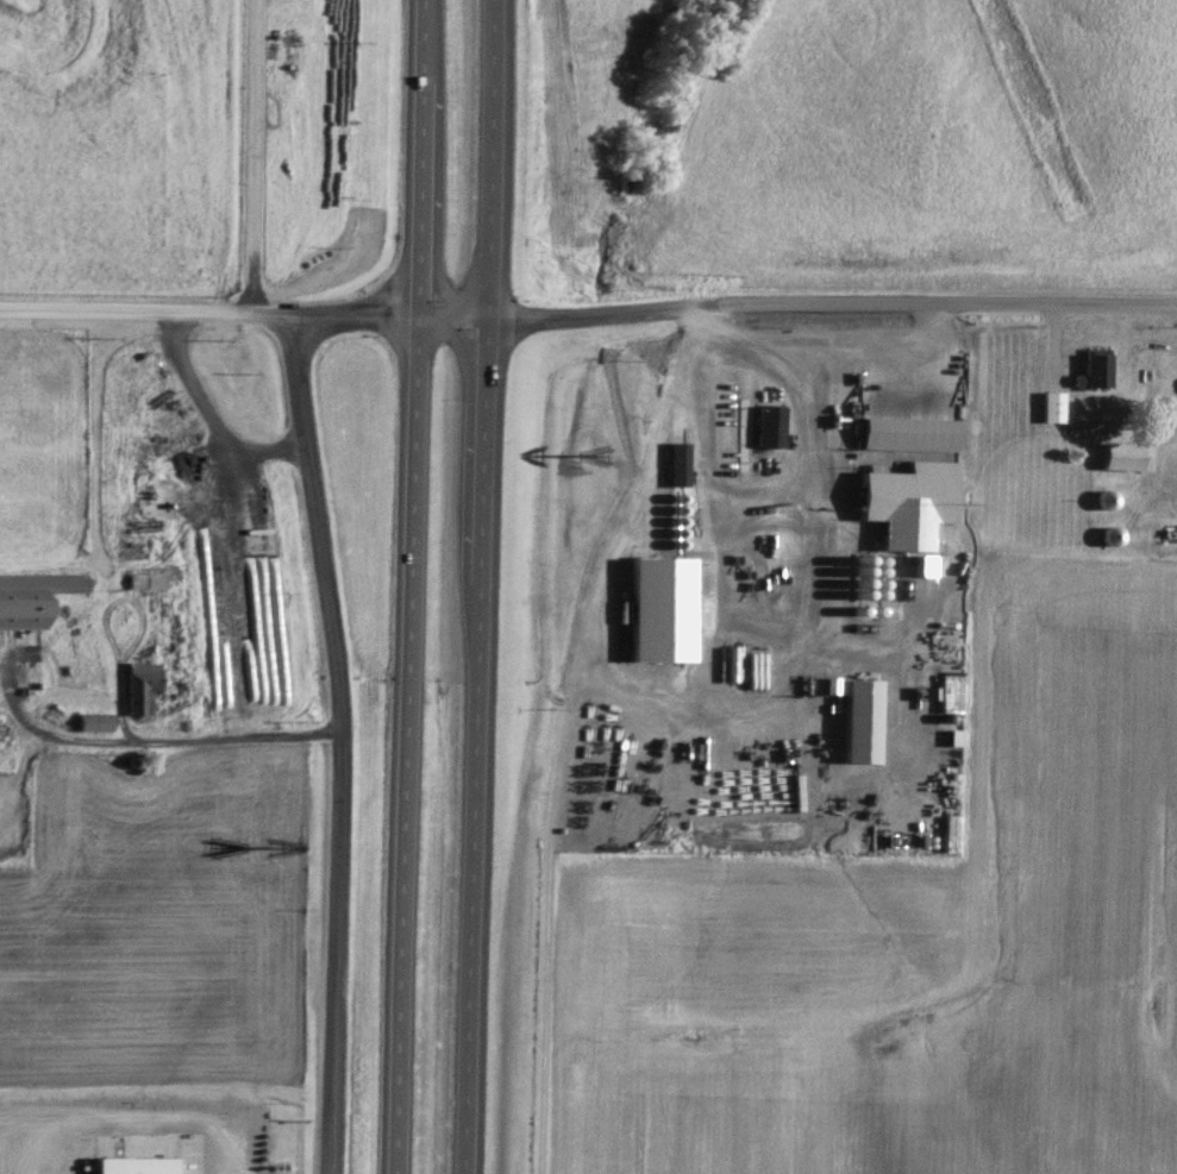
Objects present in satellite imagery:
road: (253, 155)
road: (799, 296)
road: (211, 309)
building: (1098, 370)
building: (1056, 406)
building: (774, 425)
building: (913, 432)
building: (1126, 456)
building: (681, 463)
building: (914, 502)
building: (928, 564)
building: (148, 579)
road: (415, 586)
road: (480, 586)
building: (665, 608)
building: (24, 613)
building: (834, 684)
building: (144, 685)
building: (865, 720)
building: (98, 722)
road: (146, 742)
road: (344, 743)
building: (952, 831)
building: (140, 1164)

